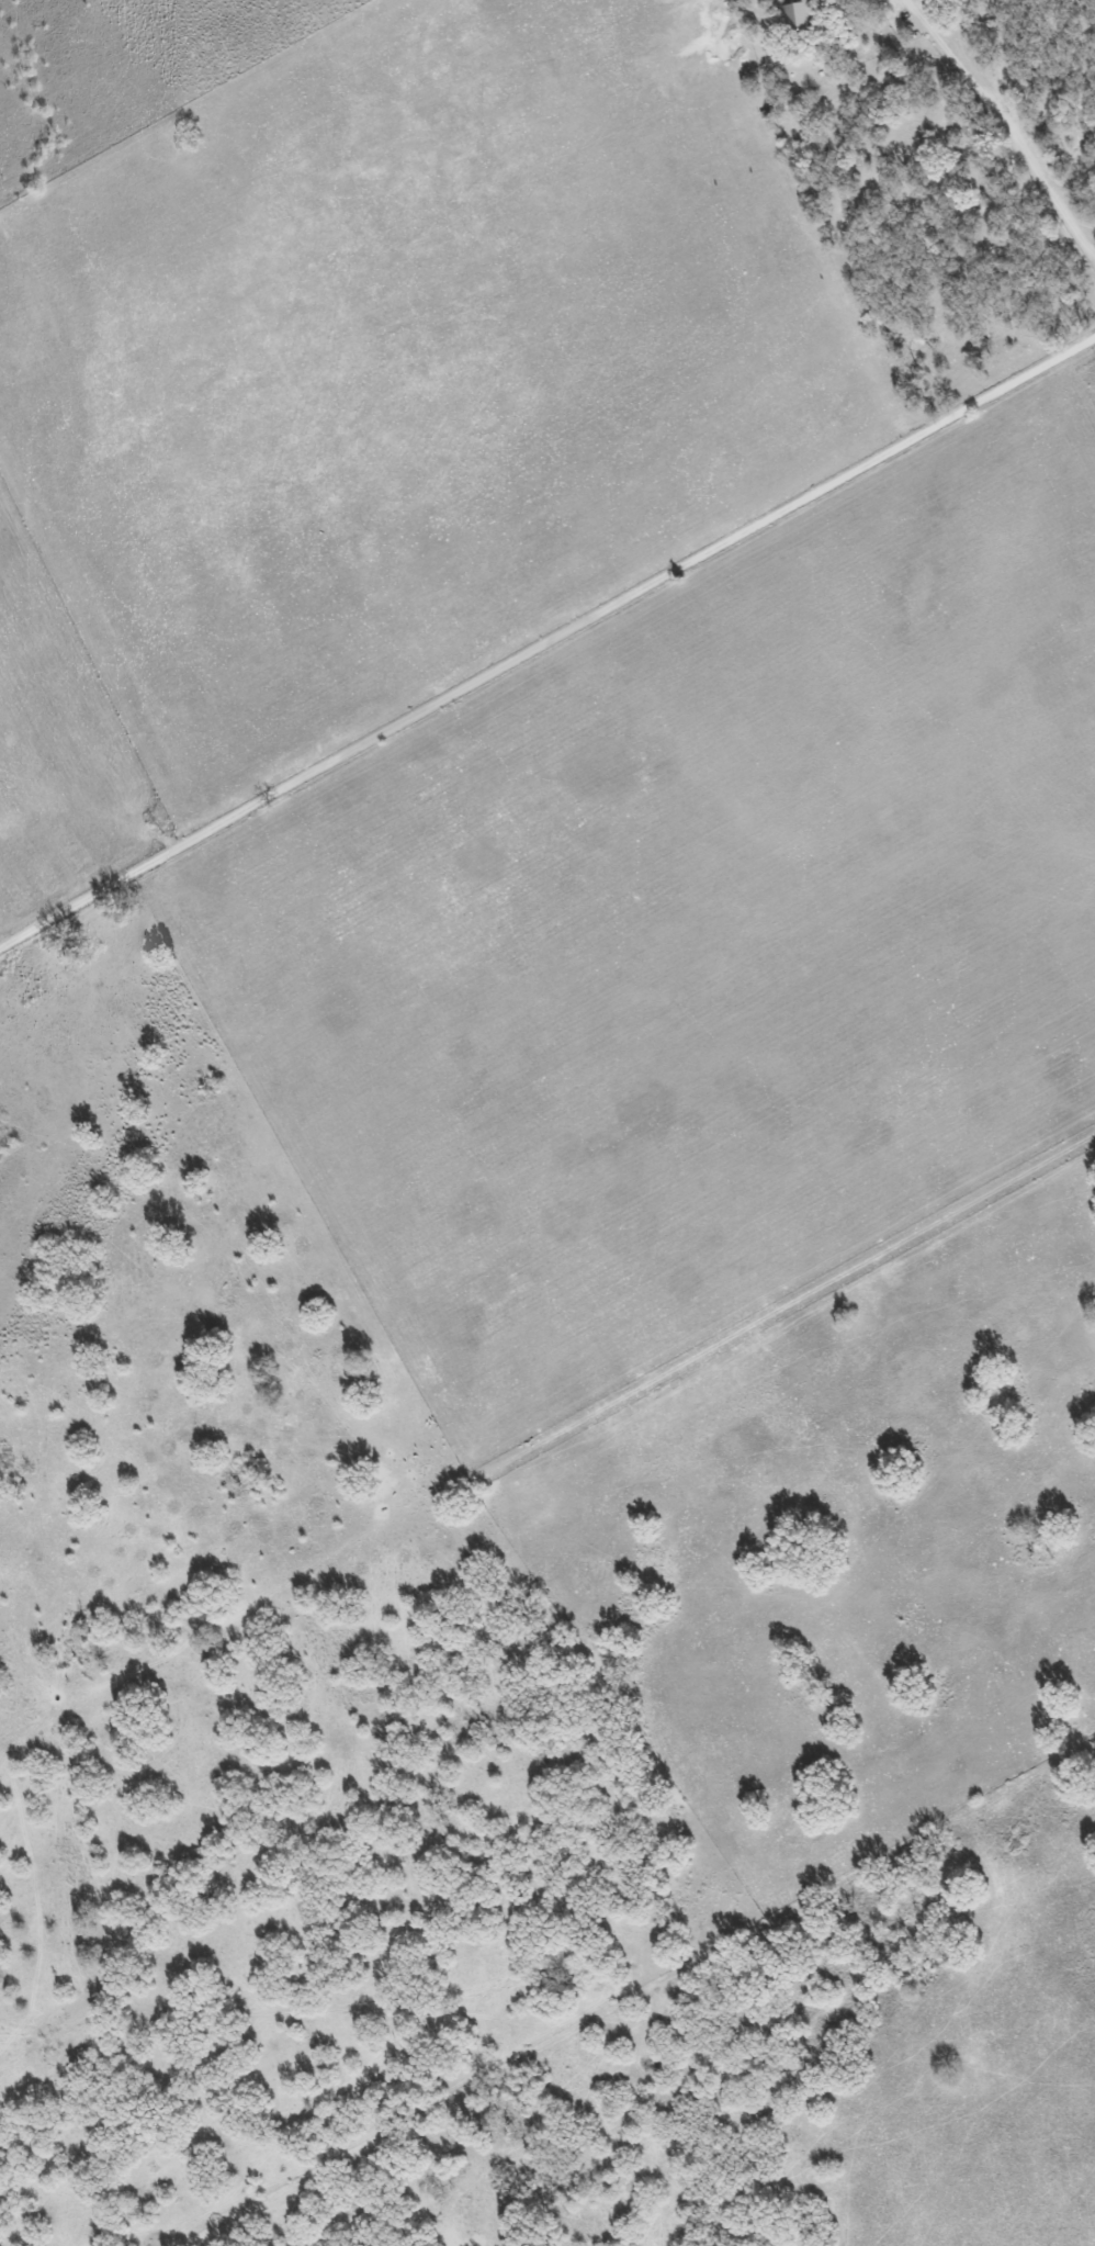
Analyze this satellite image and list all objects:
building: (798, 14)
road: (546, 647)

